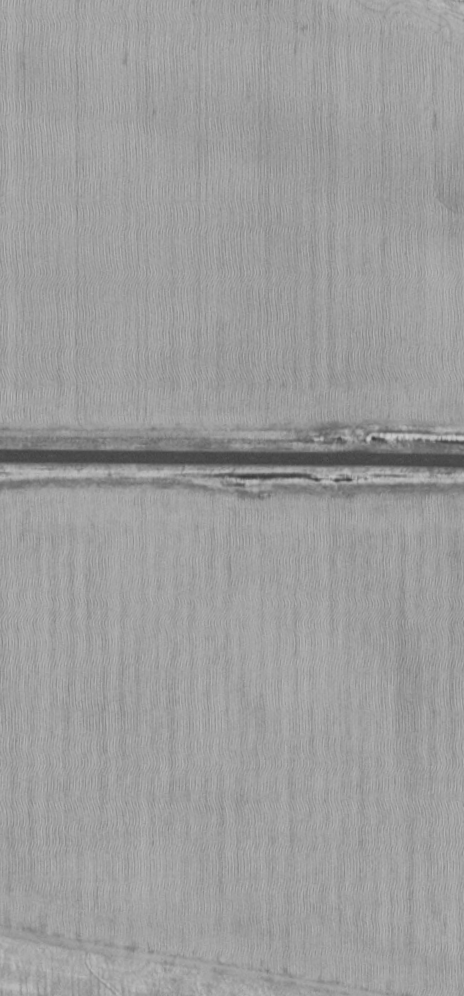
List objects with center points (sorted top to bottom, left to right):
road: (232, 460)
road: (232, 942)

